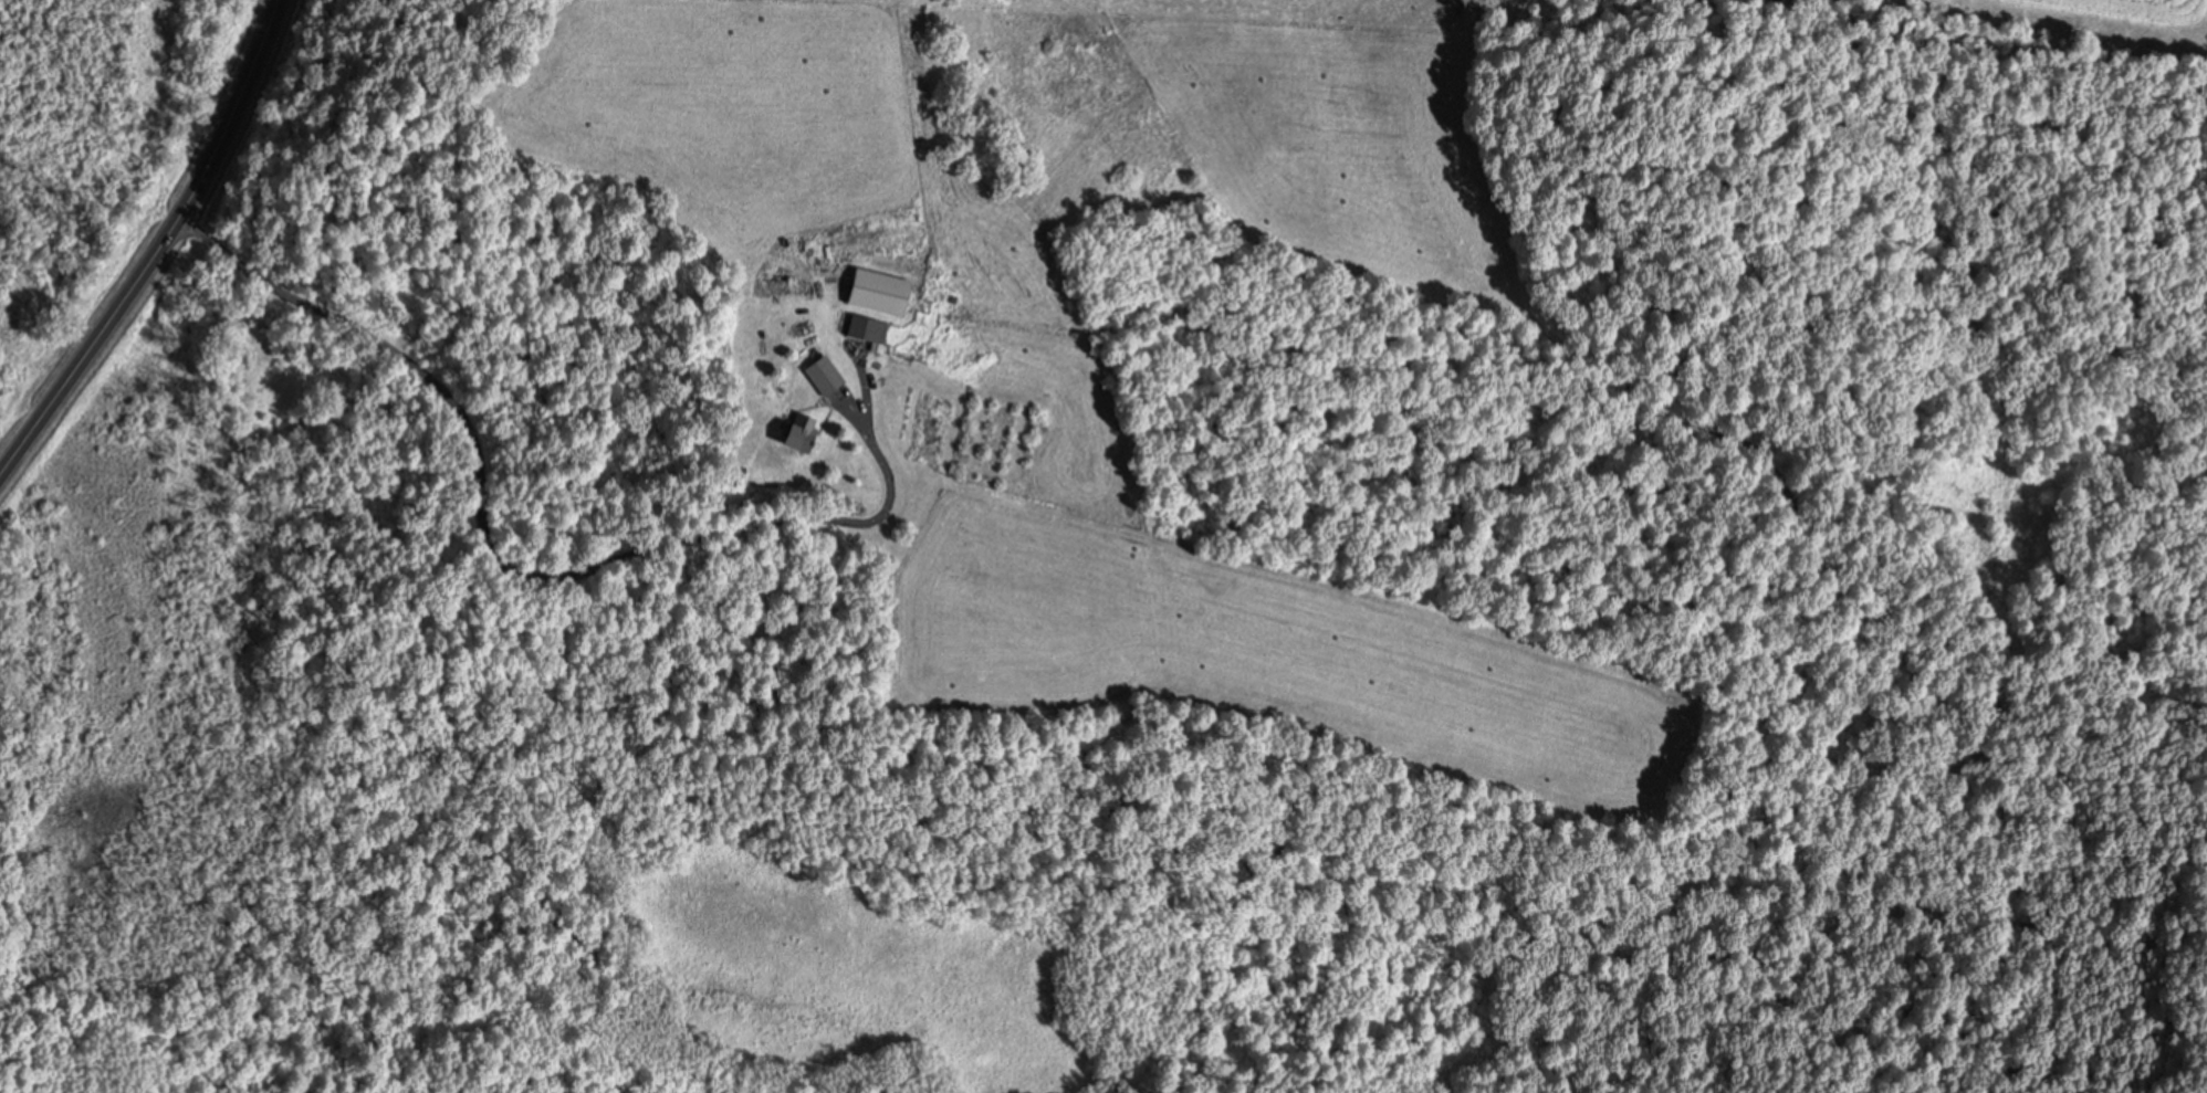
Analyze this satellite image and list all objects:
road: (154, 245)
building: (878, 291)
building: (864, 326)
building: (820, 375)
road: (868, 390)
building: (794, 430)
road: (573, 450)

